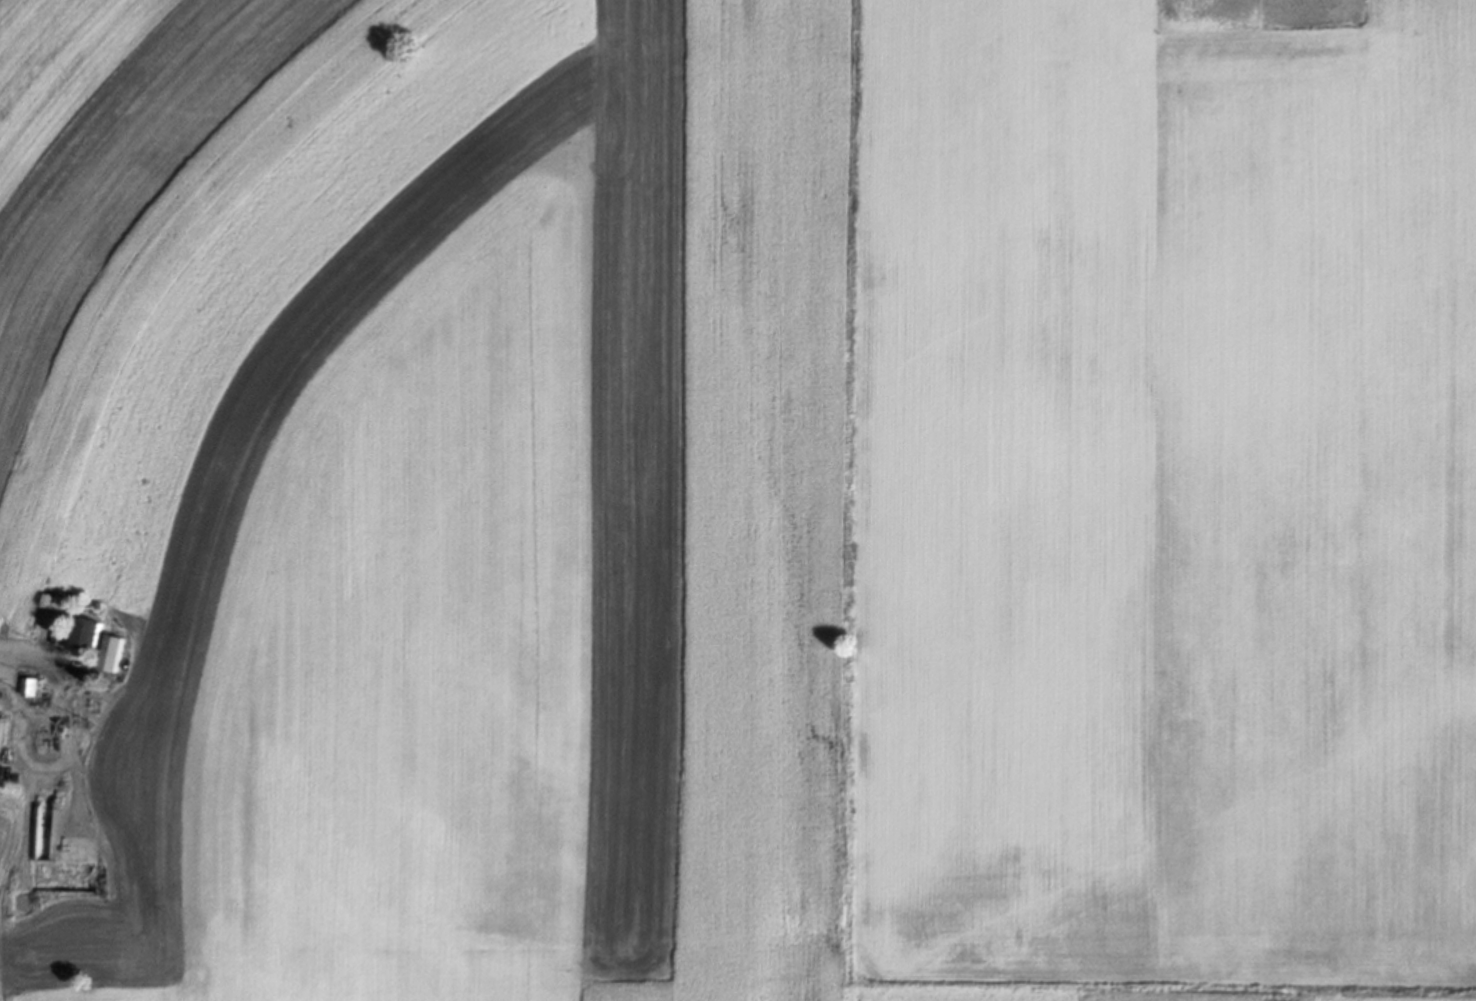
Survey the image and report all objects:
building: (53, 602)
building: (85, 635)
road: (26, 648)
building: (110, 655)
building: (28, 688)
building: (0, 723)

